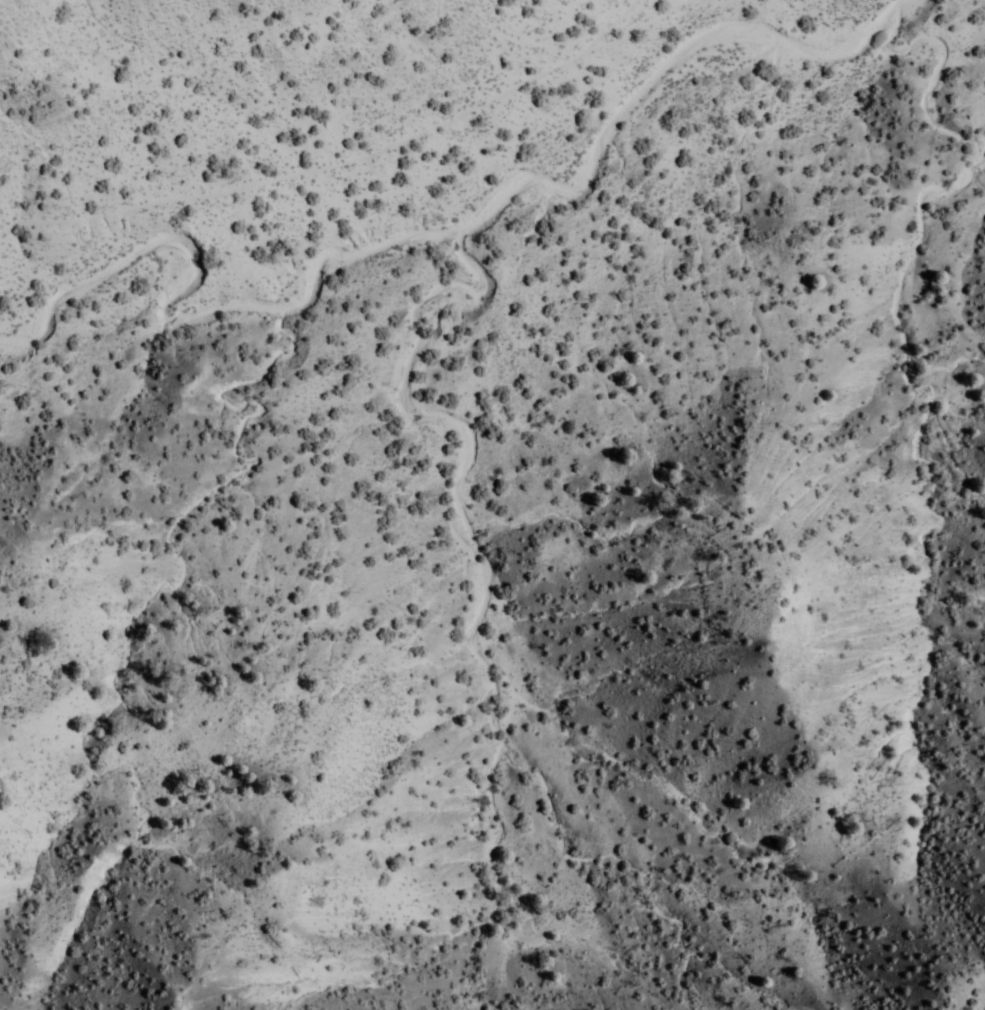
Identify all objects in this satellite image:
road: (363, 161)

